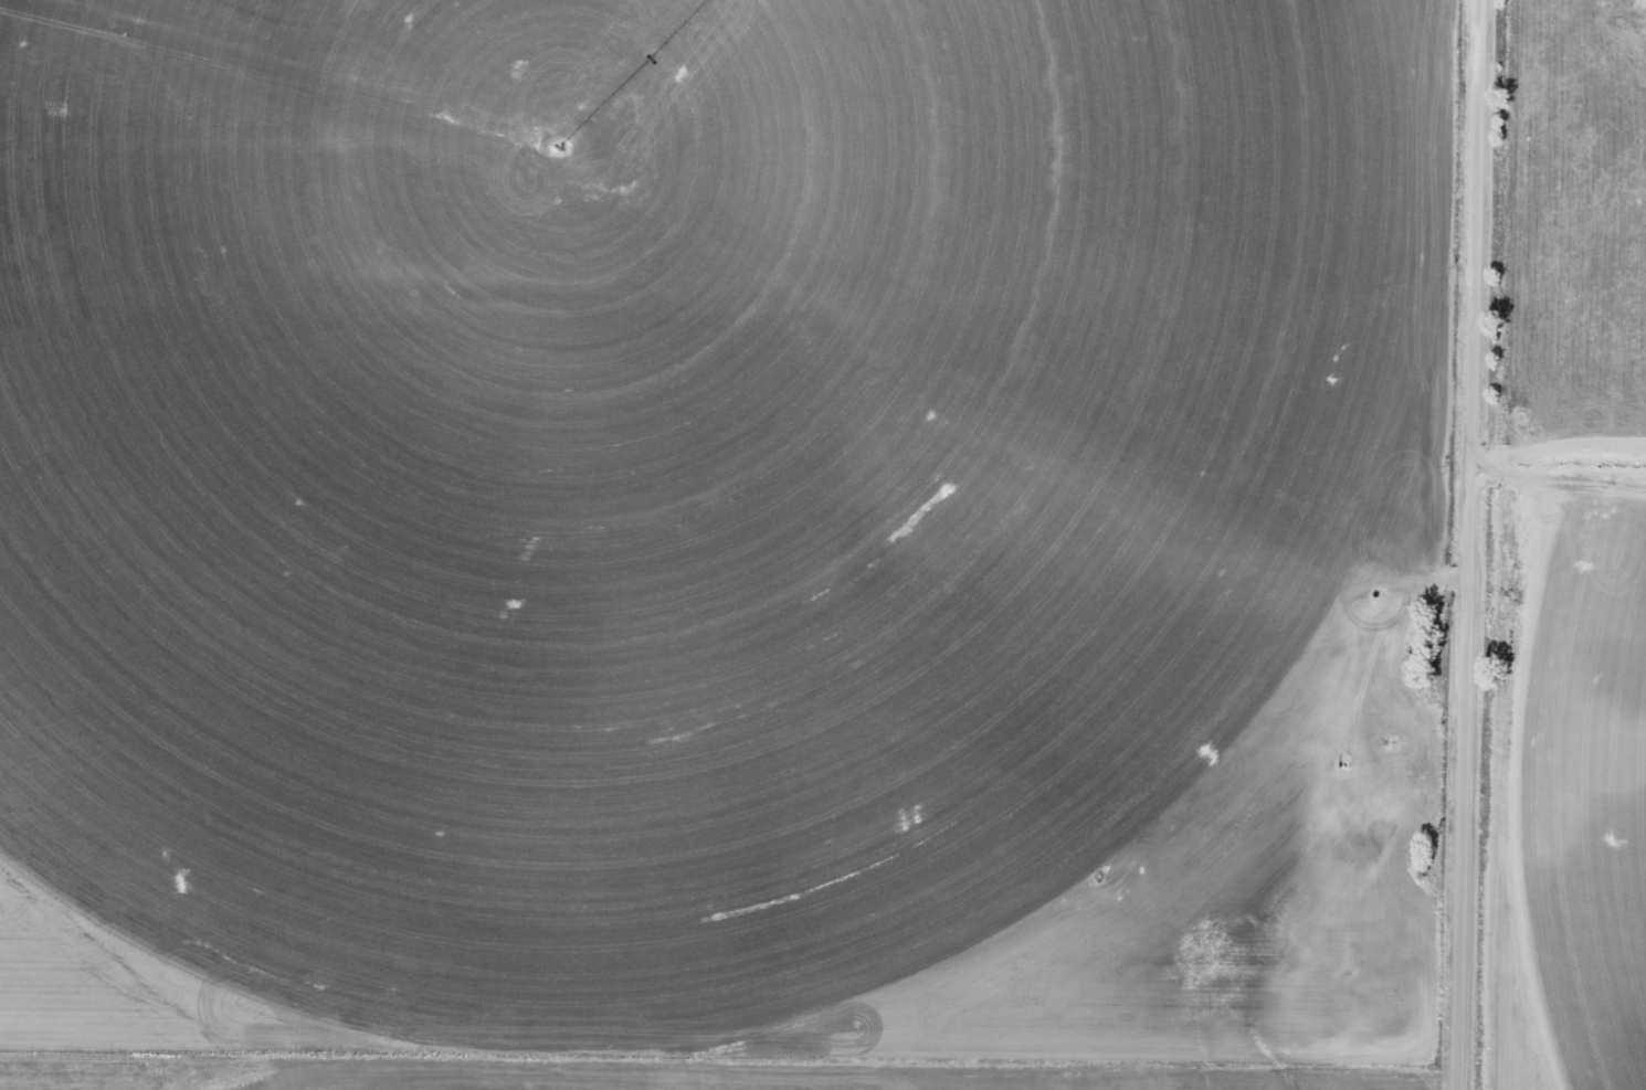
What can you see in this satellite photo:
road: (1468, 544)

